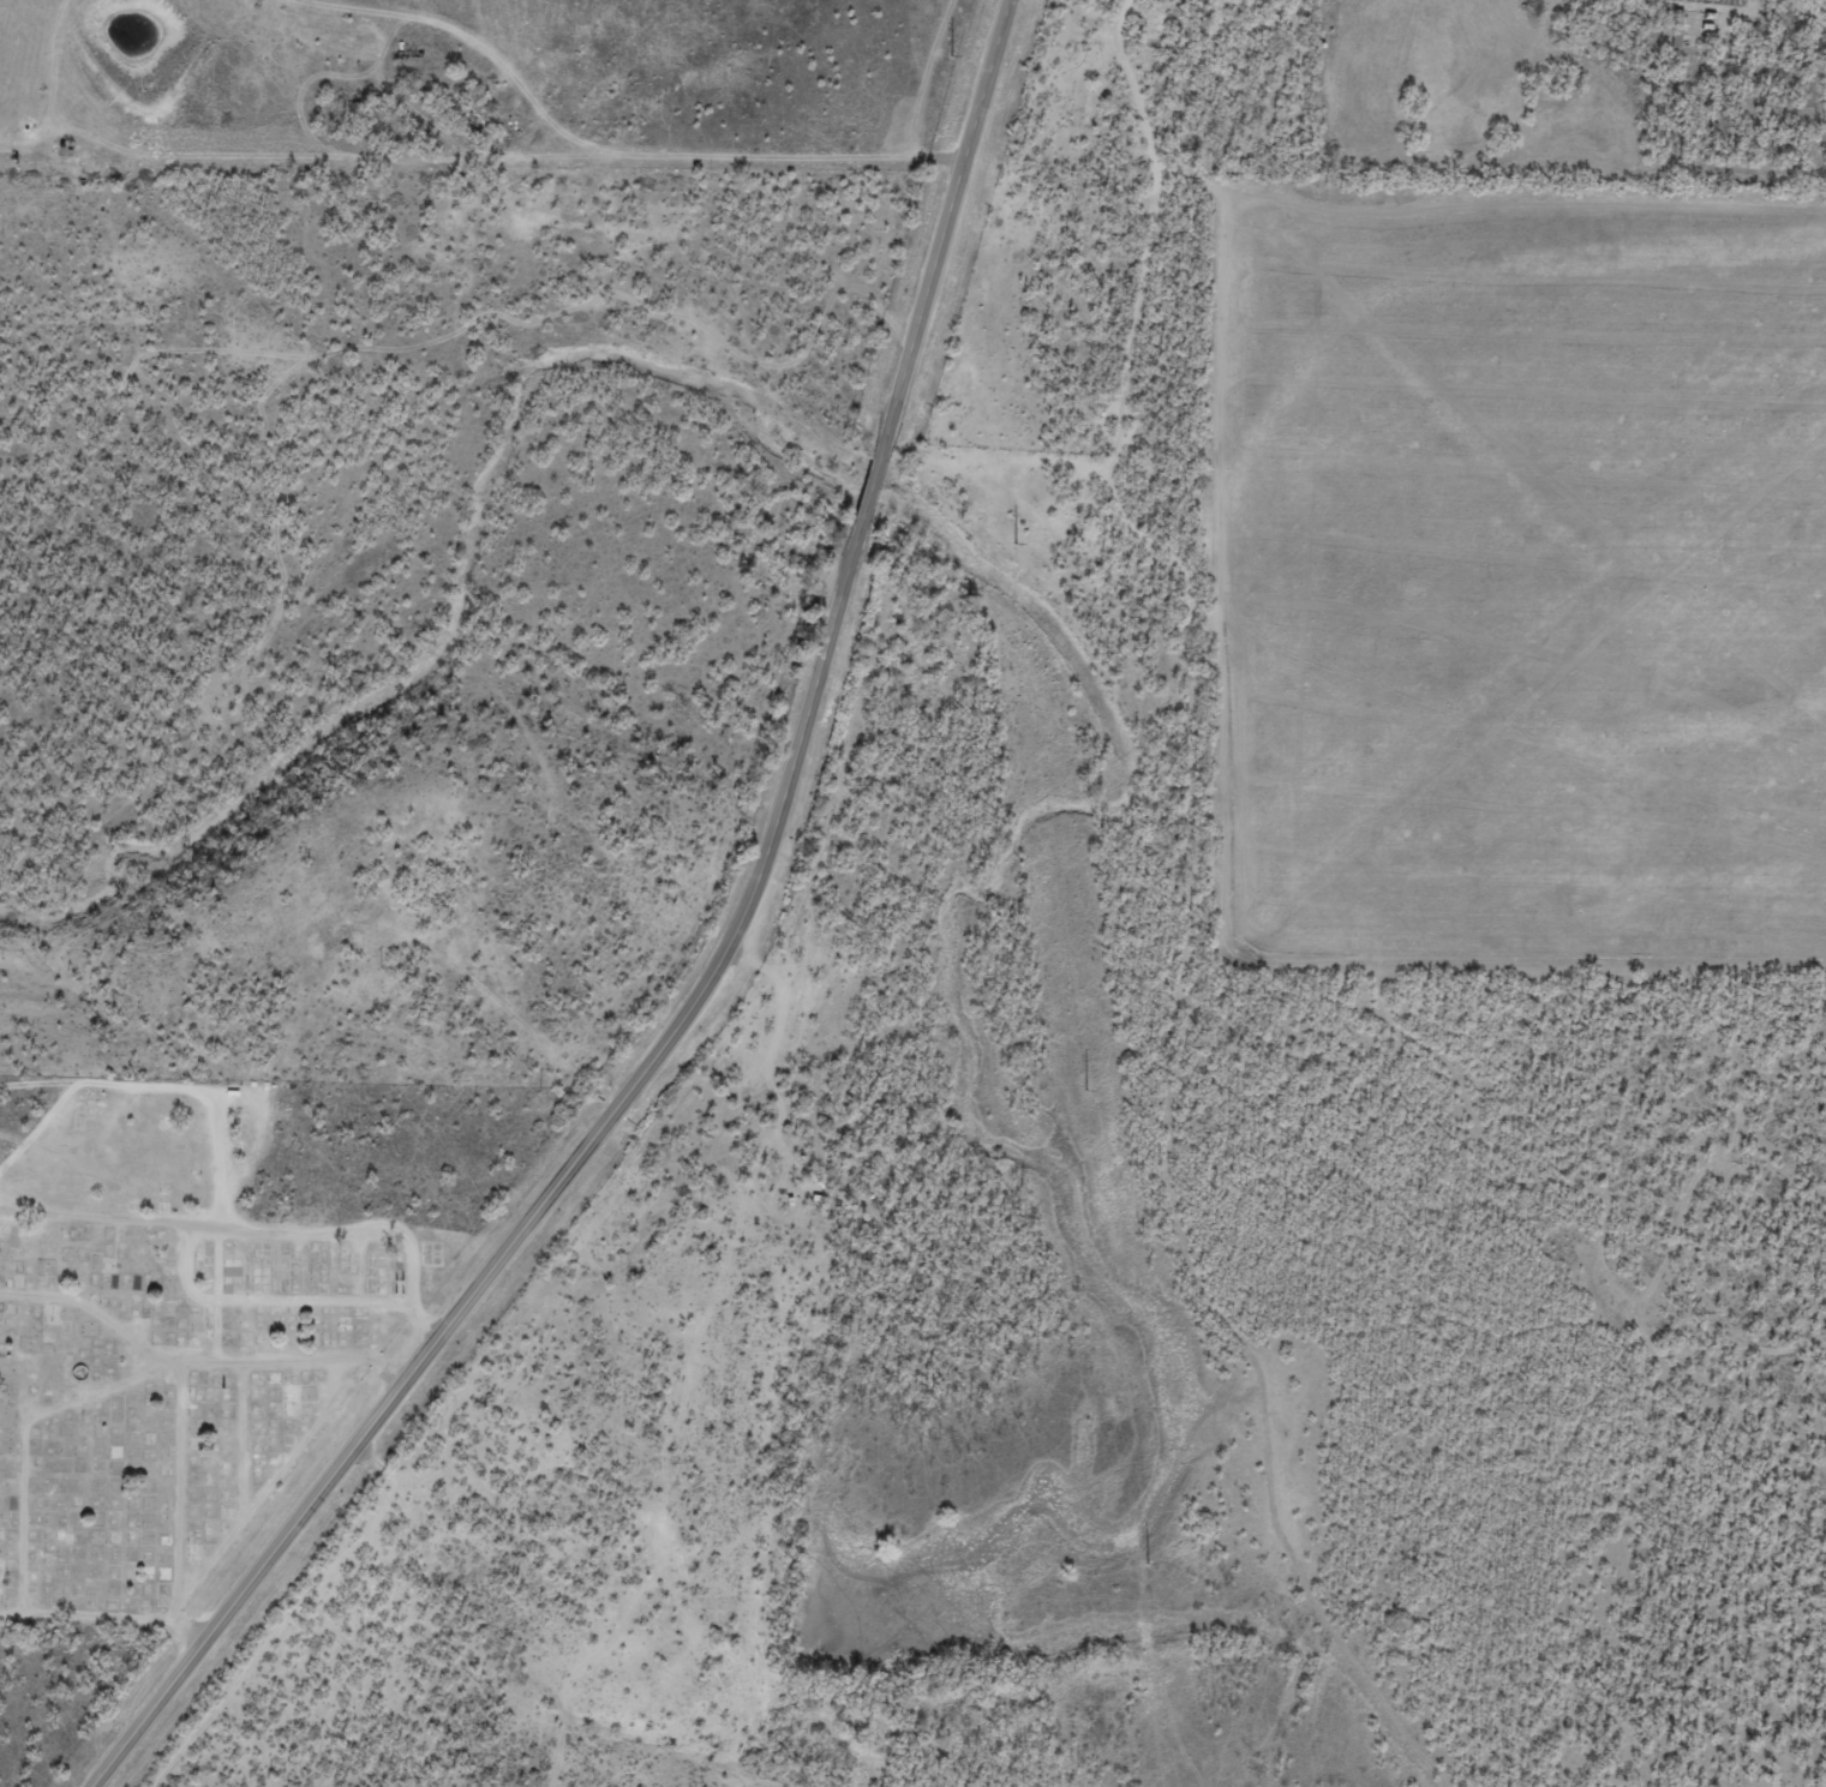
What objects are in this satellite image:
power tower: (953, 55)
power tower: (1016, 542)
road: (712, 975)
power tower: (1086, 1090)
park: (211, 1305)
power tower: (1149, 1563)

